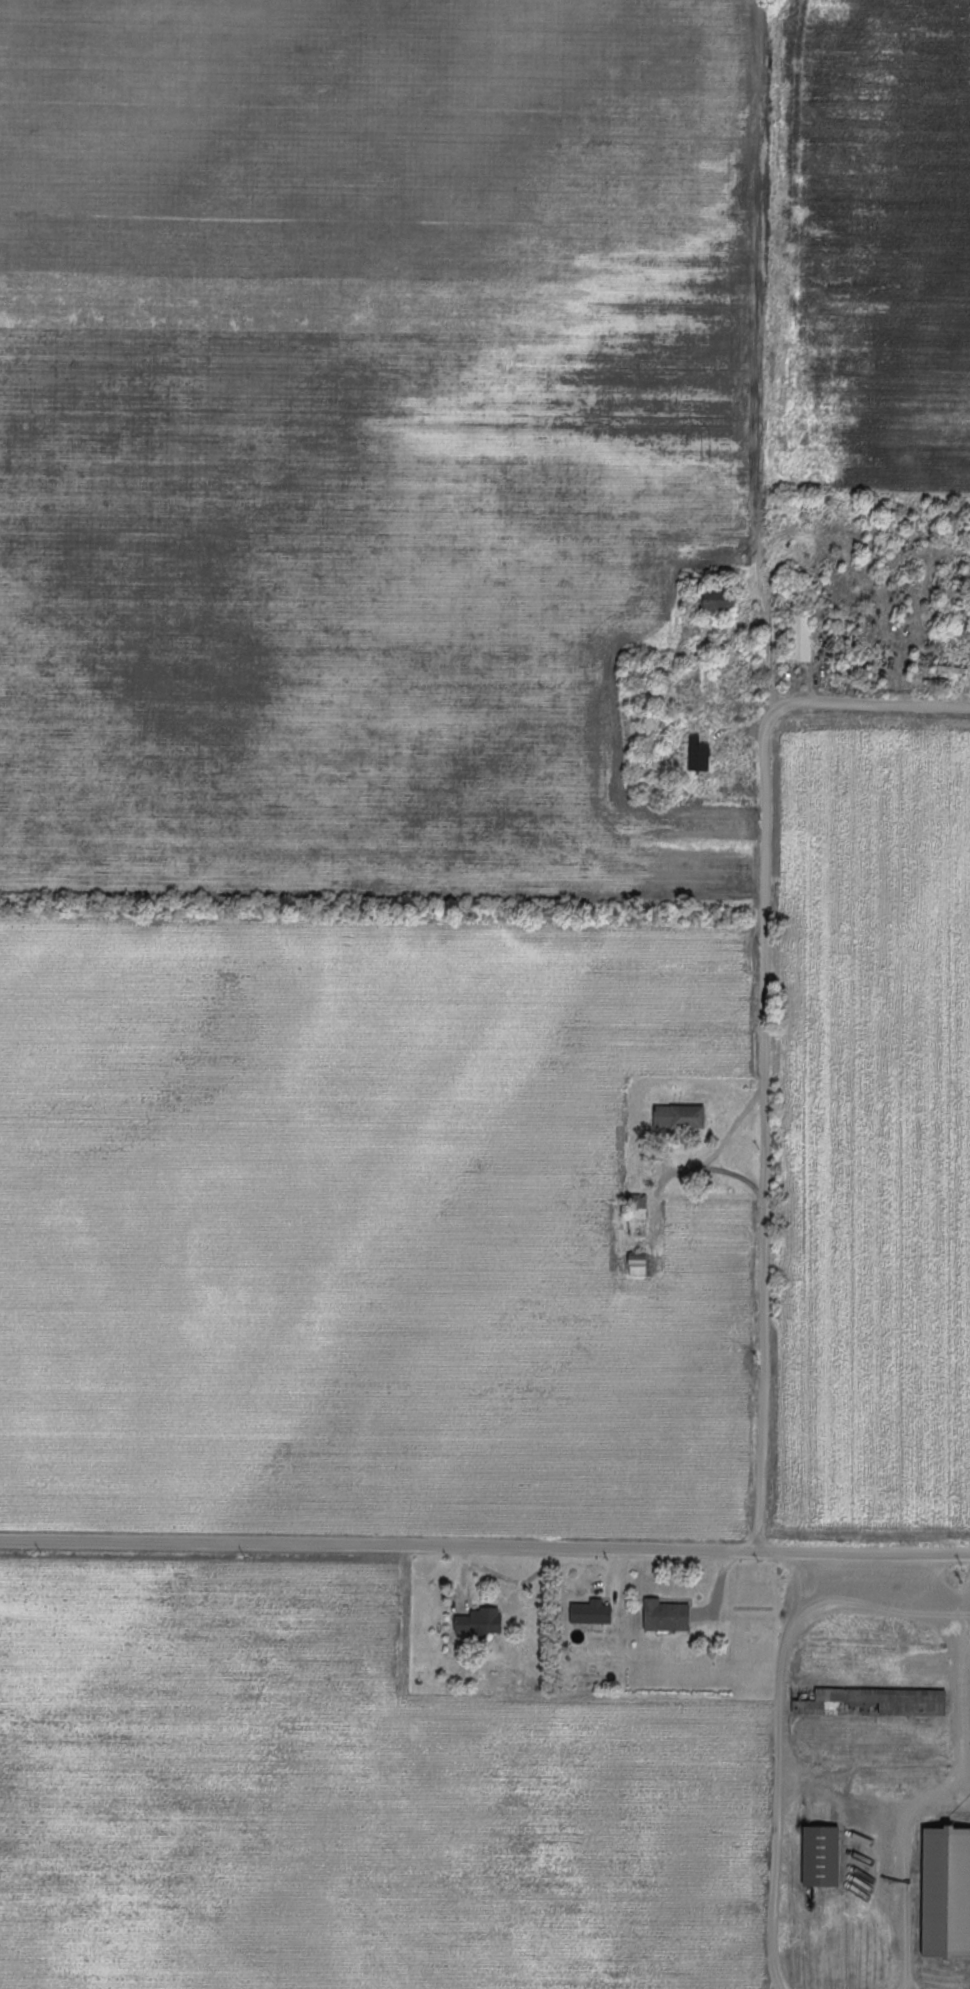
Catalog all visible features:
building: (719, 602)
building: (802, 638)
building: (698, 755)
road: (767, 1028)
building: (681, 1115)
building: (639, 1212)
building: (639, 1261)
road: (484, 1546)
building: (591, 1612)
building: (666, 1615)
building: (479, 1622)
building: (877, 1696)
road: (779, 1768)
road: (907, 1834)
building: (821, 1856)
building: (947, 1892)

